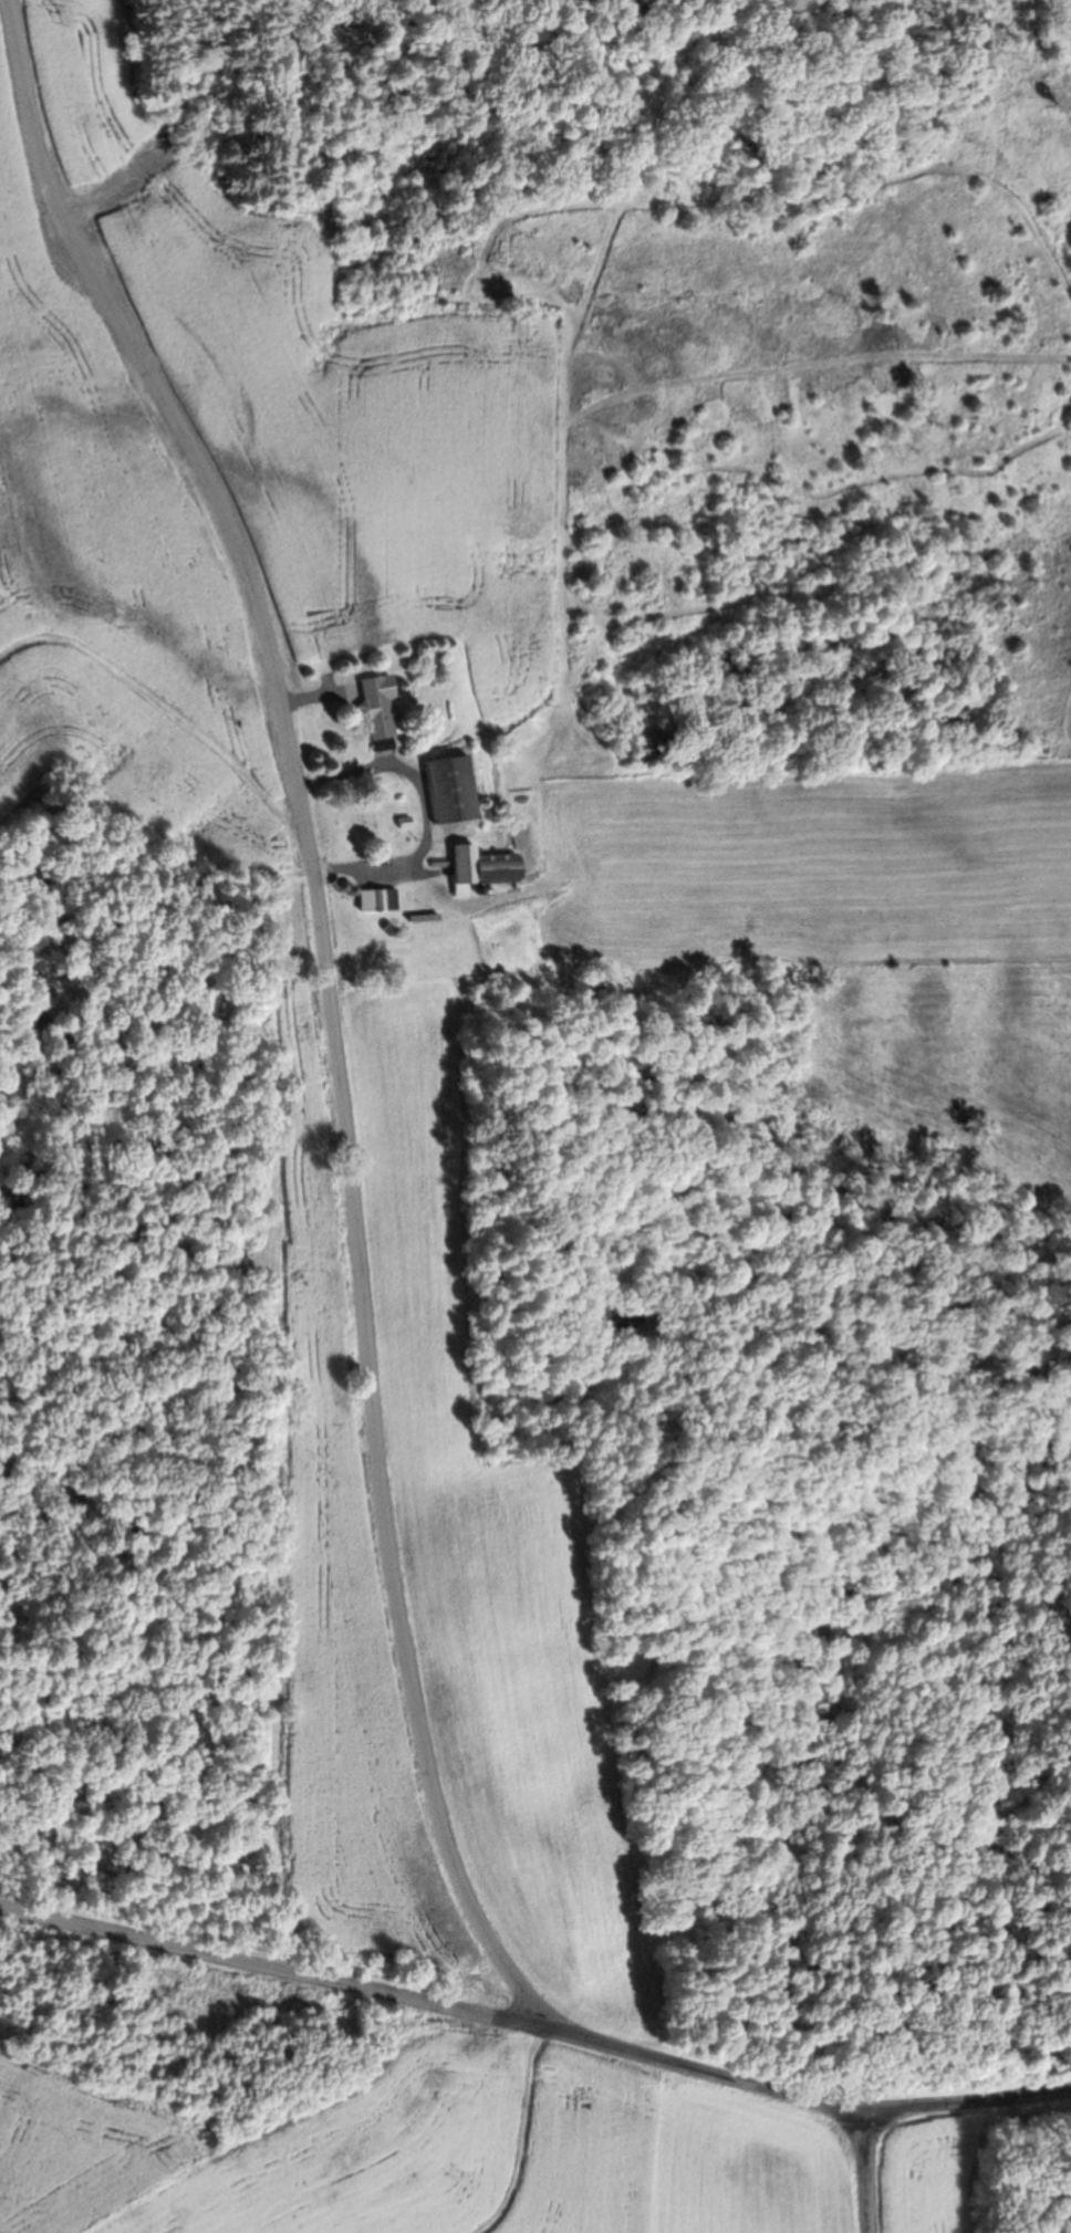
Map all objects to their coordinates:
building: (391, 707)
building: (462, 790)
building: (496, 868)
building: (388, 900)
road: (335, 1008)
road: (534, 2028)
road: (863, 2172)

